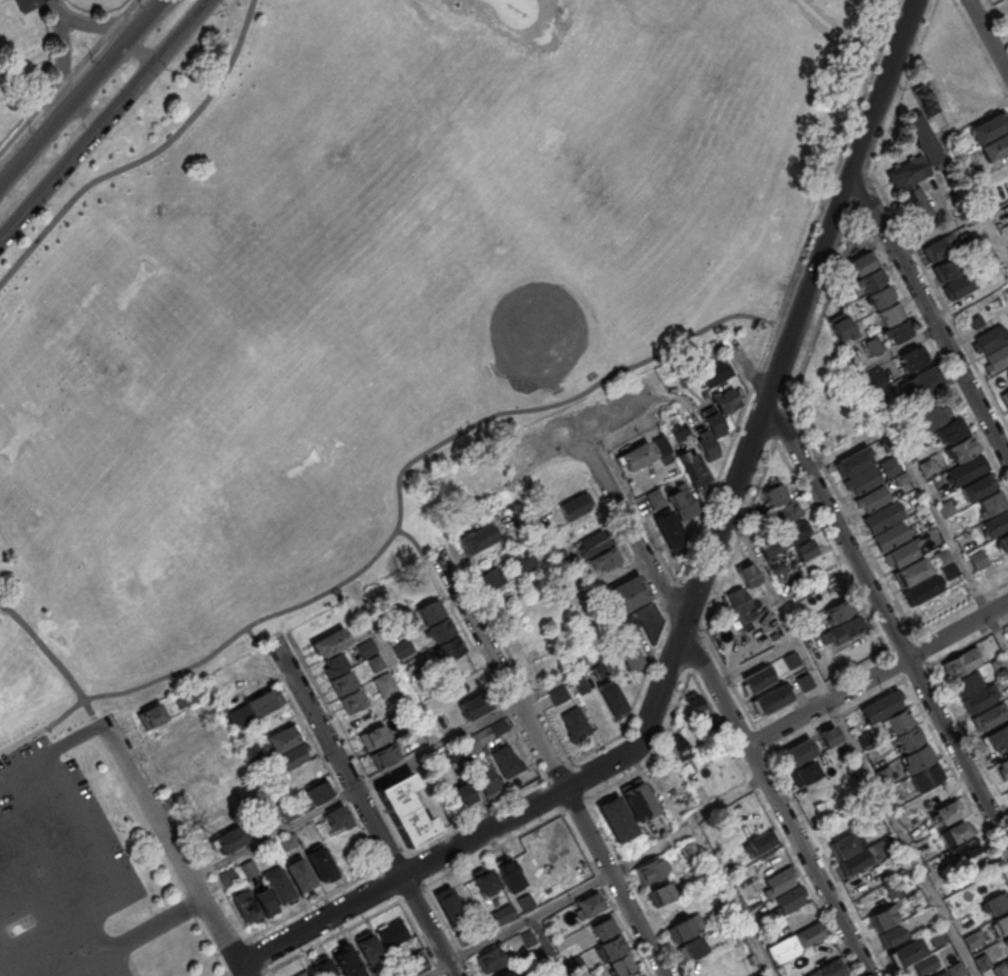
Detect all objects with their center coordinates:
road: (0, 0)
building: (25, 4)
road: (56, 9)
road: (996, 20)
road: (95, 25)
road: (830, 33)
road: (987, 37)
park: (39, 44)
road: (141, 48)
road: (64, 59)
road: (79, 91)
building: (922, 99)
road: (87, 110)
road: (974, 117)
road: (103, 119)
building: (933, 125)
building: (989, 127)
building: (924, 138)
building: (994, 146)
road: (146, 157)
building: (1007, 178)
building: (911, 187)
road: (974, 199)
park: (328, 210)
road: (938, 231)
building: (939, 247)
park: (188, 254)
building: (858, 264)
building: (948, 267)
building: (868, 280)
building: (961, 284)
building: (1006, 287)
building: (880, 296)
road: (940, 299)
park: (554, 302)
building: (889, 313)
road: (930, 315)
building: (976, 321)
building: (840, 326)
building: (898, 330)
building: (989, 339)
park: (344, 344)
building: (873, 346)
road: (896, 348)
road: (934, 350)
building: (911, 357)
building: (998, 357)
road: (744, 361)
park: (119, 374)
building: (715, 374)
building: (875, 377)
building: (687, 379)
building: (1002, 379)
building: (920, 383)
road: (761, 388)
building: (1004, 397)
road: (666, 398)
building: (724, 400)
building: (933, 412)
building: (712, 421)
building: (678, 430)
building: (953, 430)
building: (704, 442)
road: (846, 447)
building: (662, 448)
building: (962, 448)
building: (635, 456)
building: (852, 461)
building: (926, 466)
building: (692, 468)
building: (967, 469)
building: (867, 477)
building: (901, 478)
park: (22, 483)
building: (978, 486)
building: (774, 494)
building: (654, 498)
building: (872, 498)
road: (753, 501)
building: (992, 502)
building: (683, 503)
building: (573, 507)
building: (946, 508)
building: (758, 510)
road: (932, 511)
building: (786, 512)
building: (882, 516)
building: (761, 523)
building: (996, 523)
road: (399, 525)
building: (669, 528)
building: (795, 531)
building: (890, 536)
road: (634, 538)
building: (477, 539)
building: (593, 542)
building: (1003, 542)
road: (418, 546)
building: (770, 547)
building: (804, 549)
building: (902, 552)
building: (942, 556)
building: (604, 558)
building: (978, 559)
building: (525, 560)
building: (778, 568)
building: (949, 570)
building: (912, 571)
building: (747, 572)
building: (492, 577)
road: (608, 580)
road: (817, 581)
road: (676, 586)
road: (697, 586)
building: (922, 589)
building: (626, 594)
building: (740, 604)
building: (430, 610)
building: (838, 610)
road: (579, 614)
building: (643, 620)
road: (887, 623)
building: (441, 629)
building: (845, 630)
building: (330, 642)
road: (261, 644)
building: (366, 647)
building: (403, 647)
building: (451, 647)
building: (629, 654)
building: (791, 659)
road: (55, 661)
road: (755, 661)
building: (335, 662)
building: (374, 662)
building: (960, 662)
building: (999, 664)
road: (499, 670)
building: (599, 670)
road: (877, 673)
building: (757, 677)
road: (403, 680)
building: (804, 681)
building: (344, 682)
building: (967, 682)
building: (385, 684)
building: (580, 684)
building: (558, 694)
building: (186, 696)
building: (612, 698)
building: (979, 698)
building: (770, 699)
building: (353, 700)
building: (696, 704)
building: (474, 705)
building: (881, 706)
building: (251, 708)
building: (151, 716)
building: (989, 716)
building: (899, 719)
building: (575, 722)
building: (497, 727)
building: (709, 729)
building: (828, 735)
building: (373, 736)
building: (864, 737)
building: (997, 737)
building: (283, 738)
building: (909, 738)
road: (850, 739)
road: (60, 745)
road: (436, 746)
building: (679, 746)
building: (796, 753)
building: (385, 756)
building: (289, 757)
road: (337, 757)
building: (916, 758)
building: (506, 761)
building: (1003, 769)
building: (803, 772)
road: (4, 776)
building: (884, 777)
building: (925, 777)
building: (486, 782)
building: (317, 792)
building: (462, 794)
building: (639, 801)
road: (776, 801)
building: (405, 809)
building: (946, 813)
building: (337, 818)
building: (616, 818)
road: (85, 826)
building: (958, 832)
road: (273, 835)
building: (299, 835)
building: (230, 838)
building: (721, 843)
building: (759, 843)
building: (844, 846)
road: (173, 847)
building: (878, 848)
building: (965, 849)
building: (688, 850)
building: (855, 860)
building: (319, 862)
building: (248, 868)
building: (652, 868)
parking lot: (57, 869)
building: (505, 869)
building: (298, 874)
road: (64, 875)
building: (227, 876)
road: (598, 879)
building: (780, 879)
building: (485, 880)
road: (614, 882)
building: (862, 882)
building: (278, 885)
building: (893, 889)
building: (661, 893)
building: (790, 897)
building: (265, 900)
building: (524, 901)
road: (733, 901)
building: (997, 903)
building: (244, 904)
building: (587, 905)
building: (449, 906)
road: (106, 908)
road: (35, 910)
building: (882, 918)
building: (1001, 923)
road: (428, 926)
building: (604, 927)
building: (681, 929)
road: (448, 930)
building: (392, 933)
building: (465, 935)
building: (807, 935)
building: (891, 935)
road: (133, 937)
building: (528, 937)
building: (973, 938)
building: (1006, 940)
building: (366, 944)
road: (547, 946)
building: (613, 947)
building: (691, 947)
road: (11, 953)
building: (906, 953)
building: (417, 959)
building: (490, 959)
building: (536, 959)
road: (128, 960)
building: (347, 960)
building: (982, 961)
building: (572, 965)
building: (621, 965)
building: (322, 966)
building: (1002, 968)
building: (829, 969)
building: (955, 969)
road: (241, 970)
building: (508, 973)
building: (548, 973)
building: (301, 974)
building: (384, 974)
road: (224, 975)
building: (585, 975)
building: (760, 975)
building: (936, 975)

